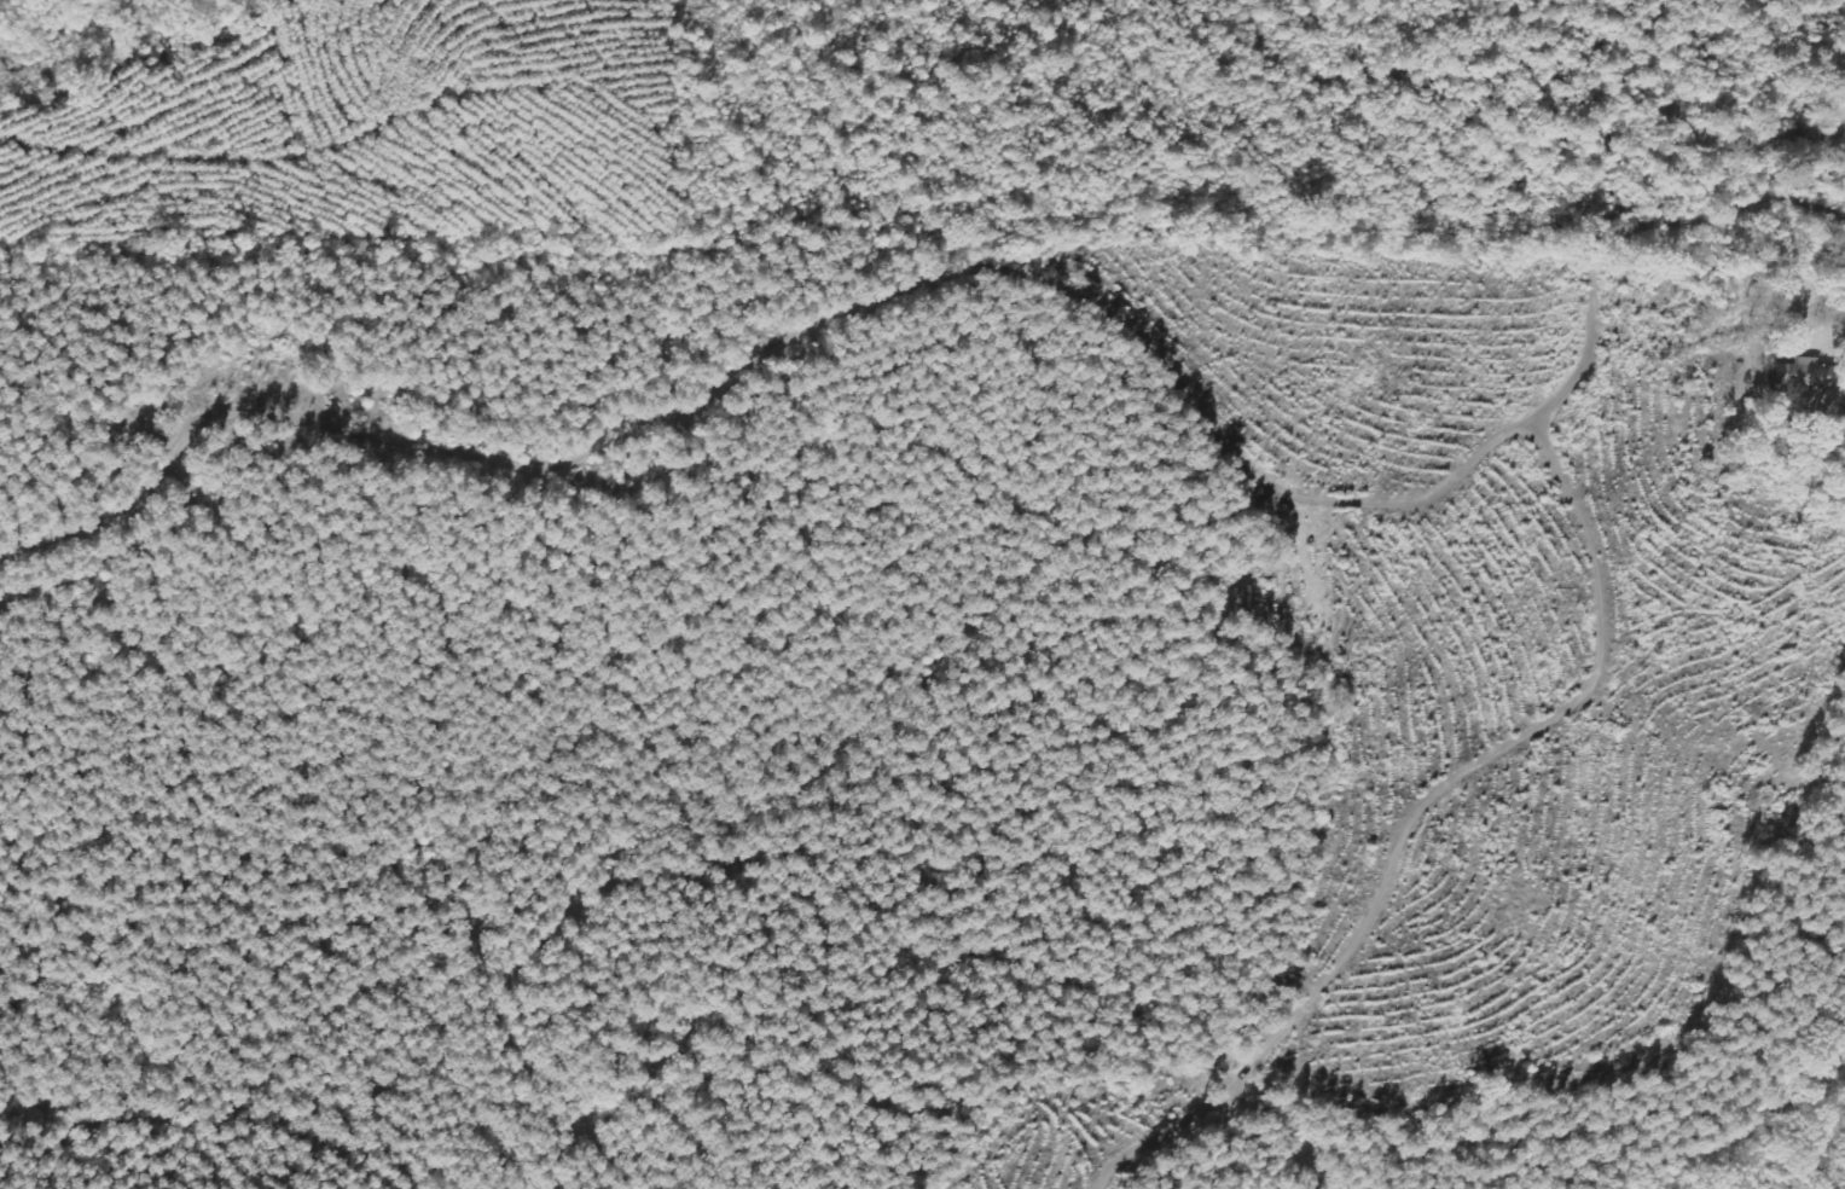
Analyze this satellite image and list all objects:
building: (1803, 373)

